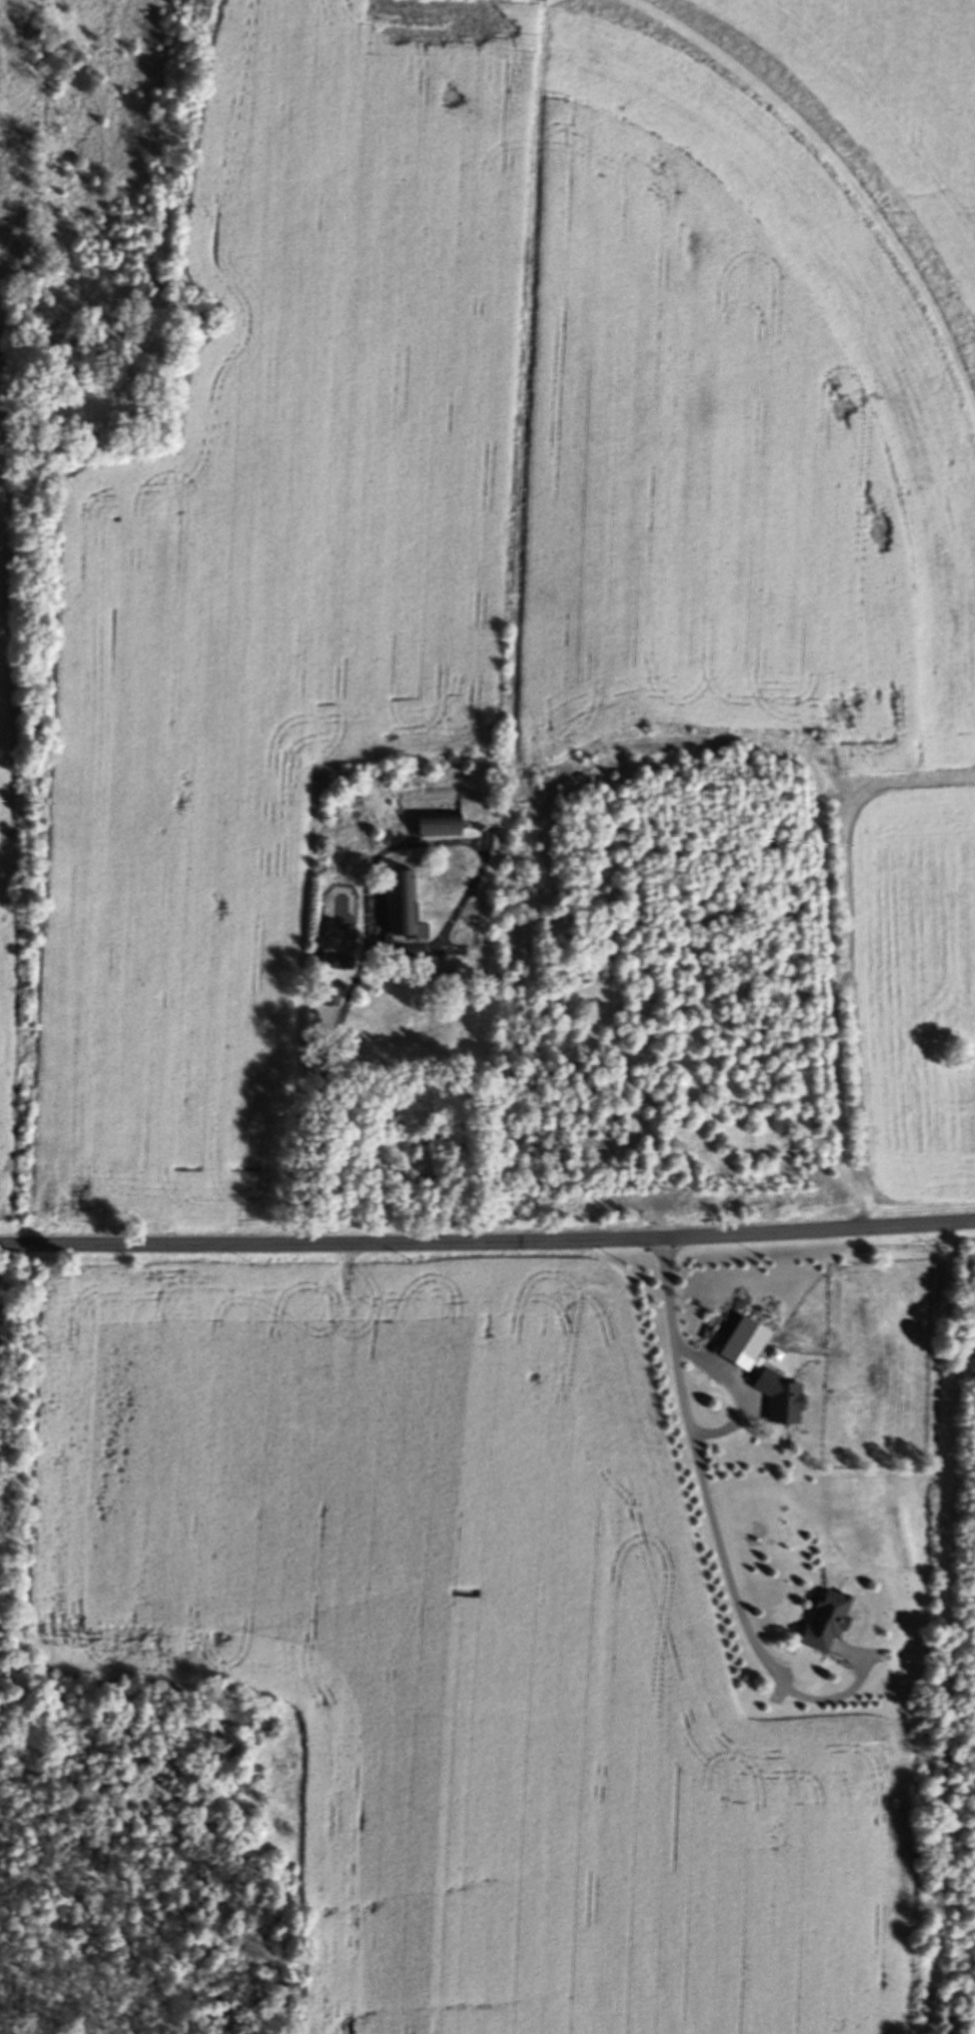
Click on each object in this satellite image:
building: (439, 830)
building: (405, 911)
building: (342, 966)
building: (332, 1001)
building: (416, 1028)
road: (487, 1241)
building: (745, 1345)
road: (738, 1392)
building: (781, 1399)
road: (698, 1472)
building: (826, 1623)

